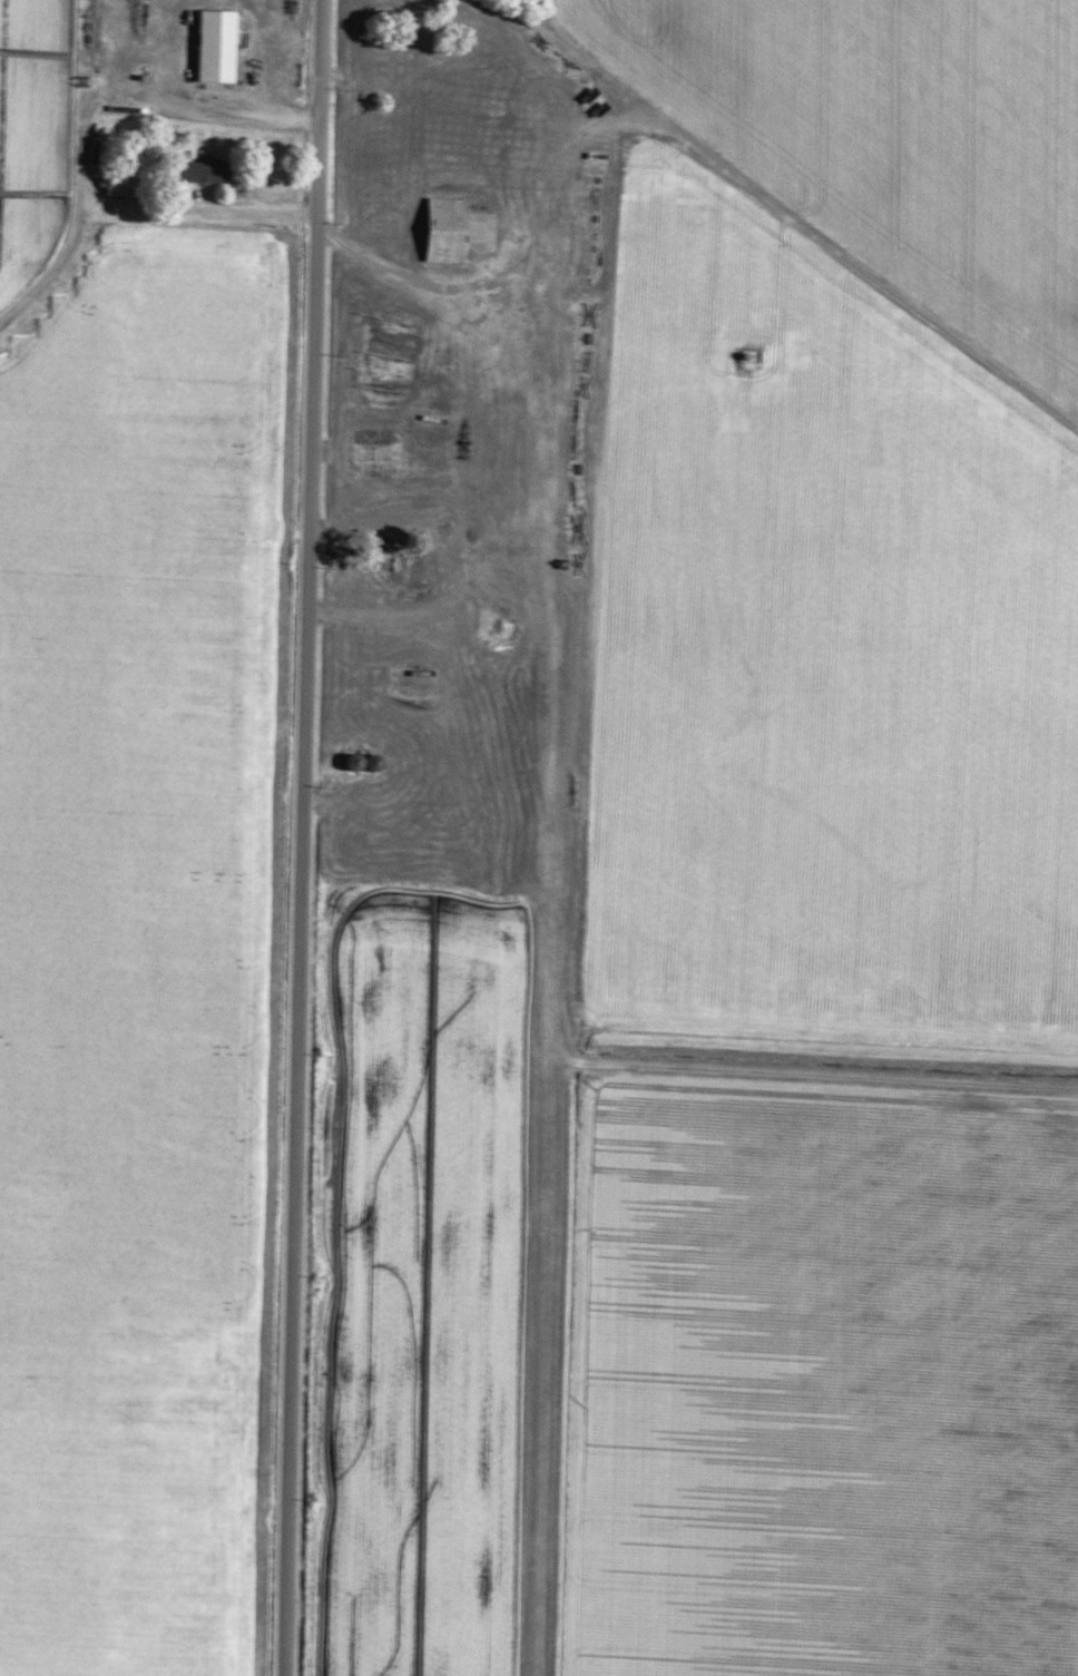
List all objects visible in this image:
building: (210, 46)
building: (199, 171)
building: (119, 186)
road: (226, 213)
building: (441, 214)
road: (391, 256)
road: (496, 743)
building: (355, 762)
road: (301, 837)
airport runway: (542, 1285)

